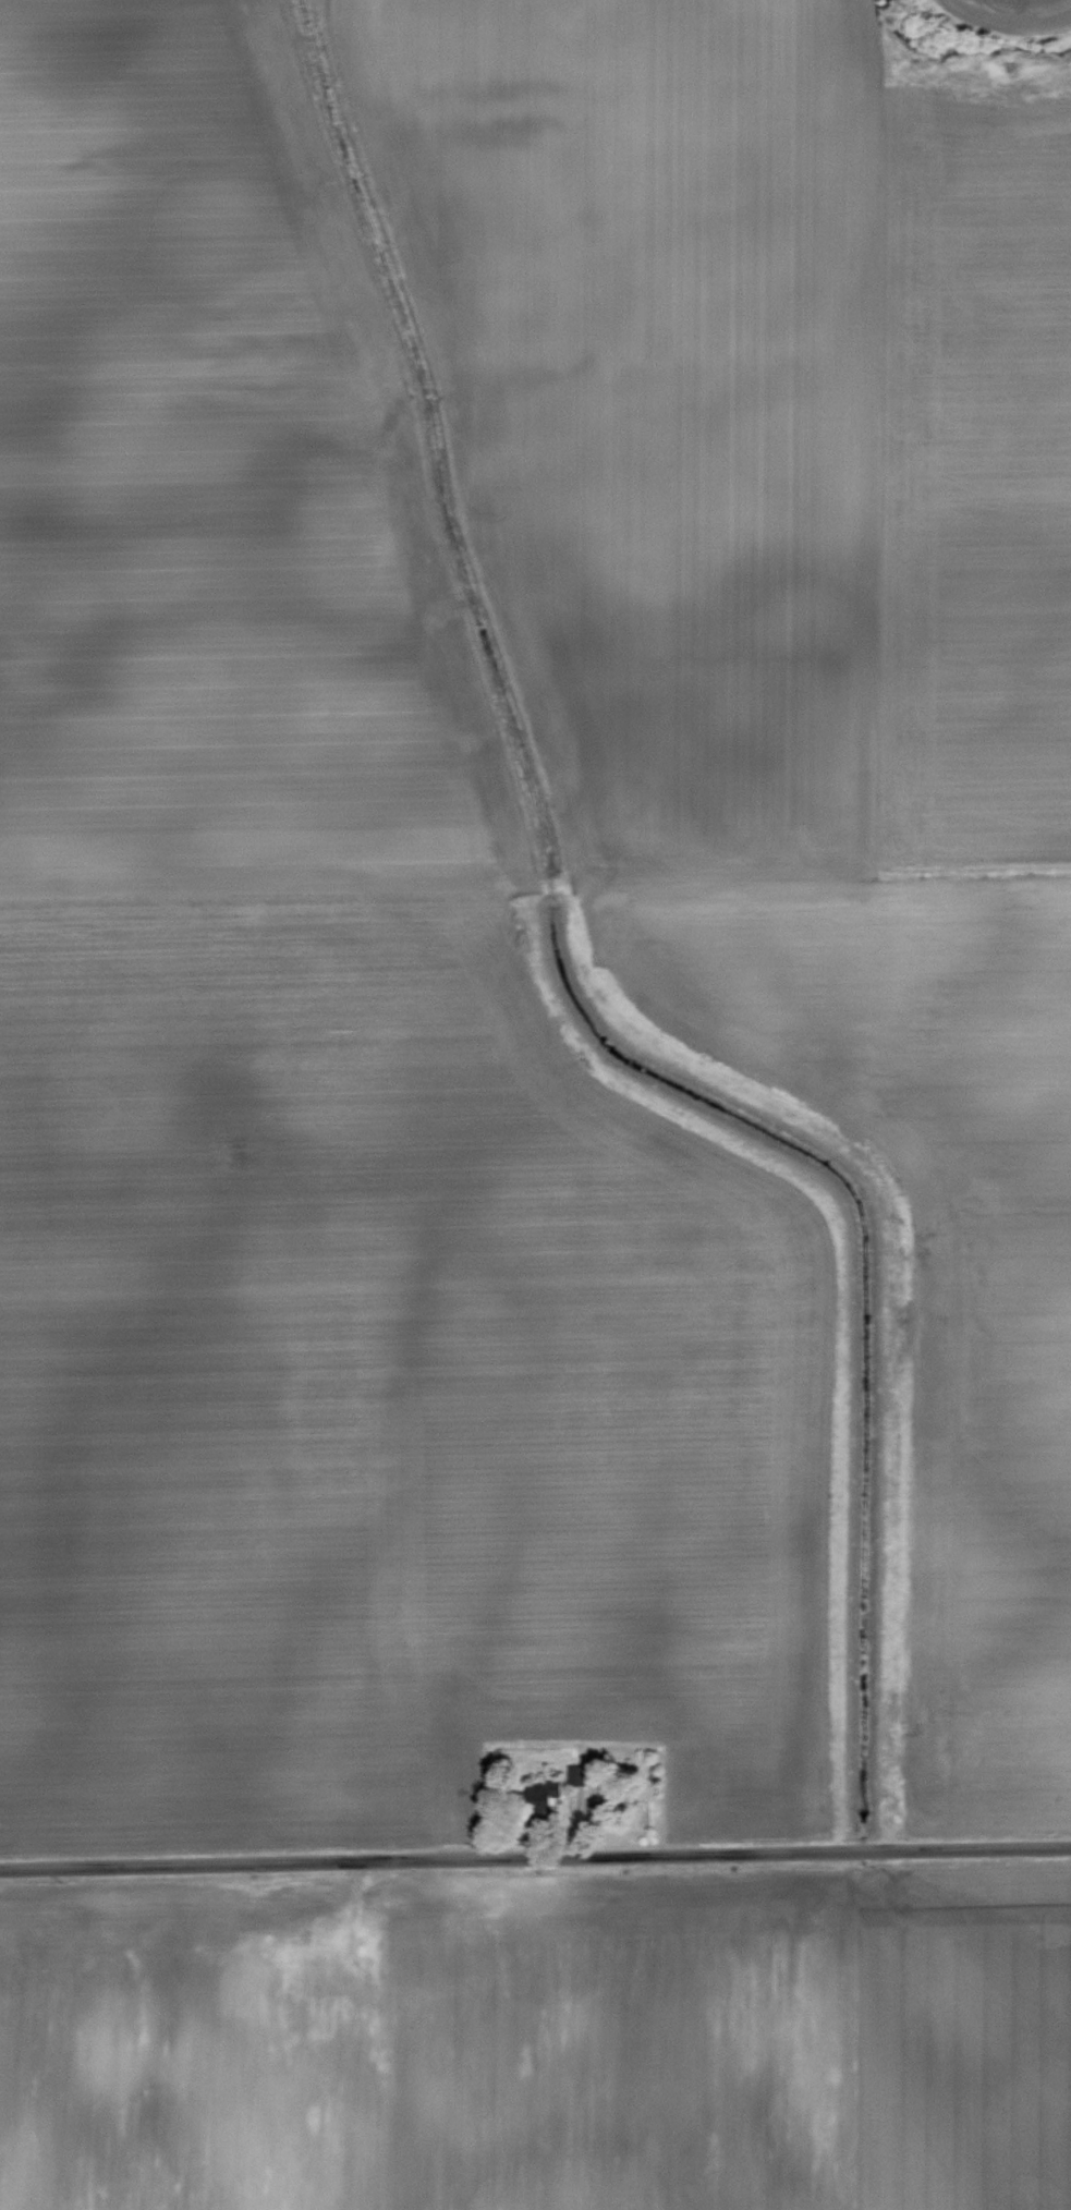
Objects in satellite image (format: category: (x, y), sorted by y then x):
road: (535, 1857)

